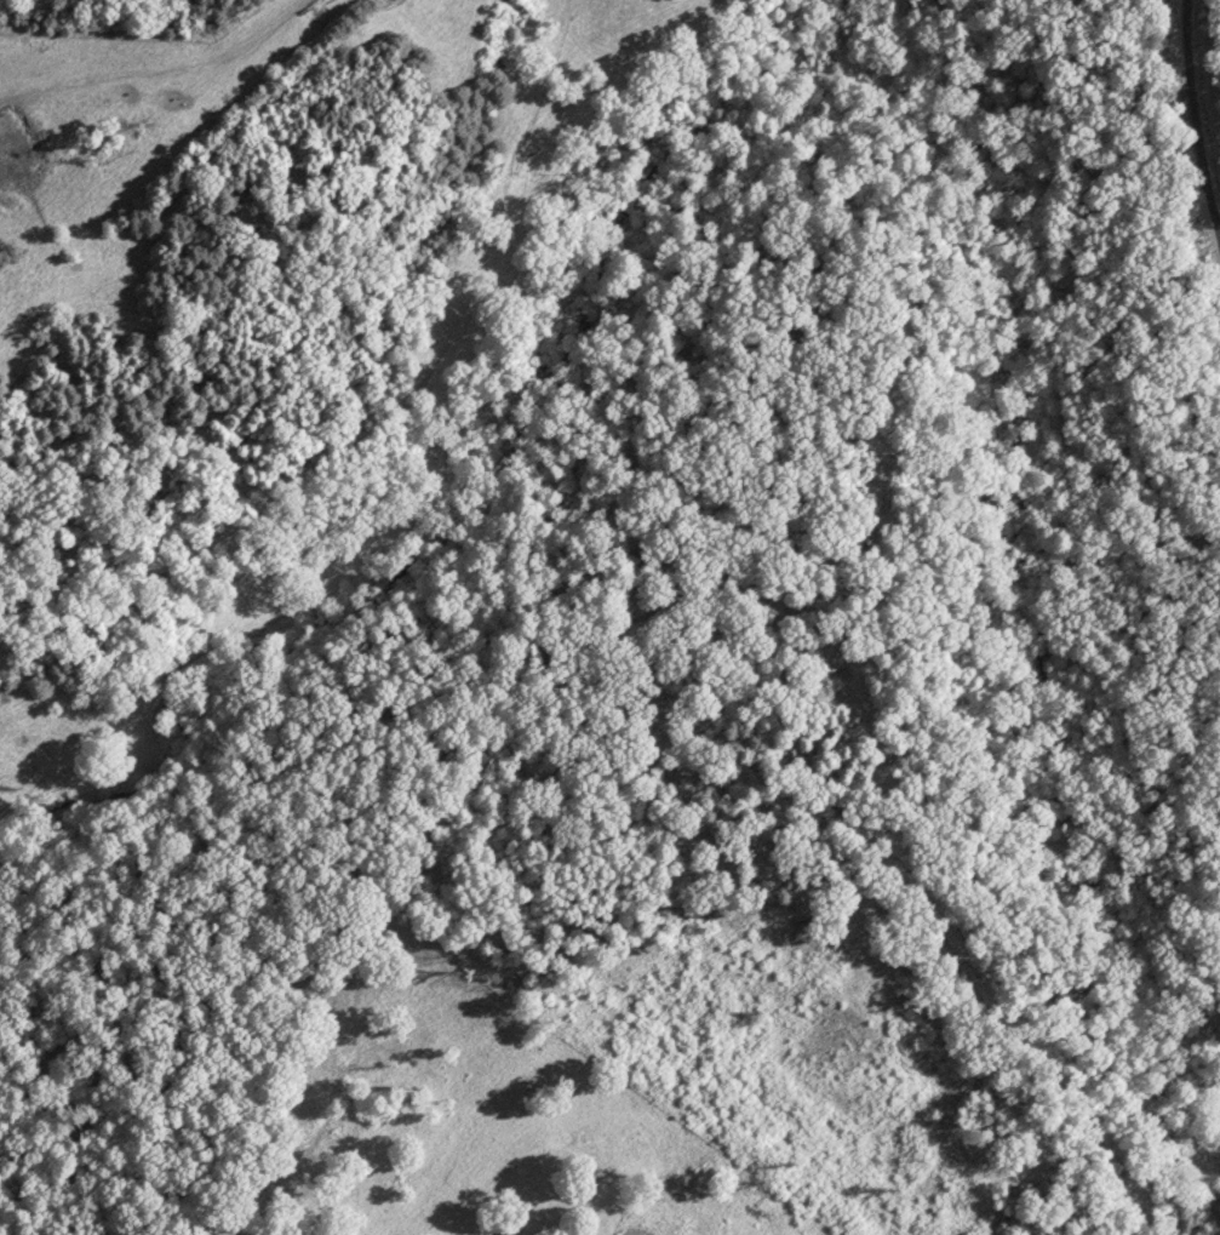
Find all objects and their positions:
road: (1216, 108)

